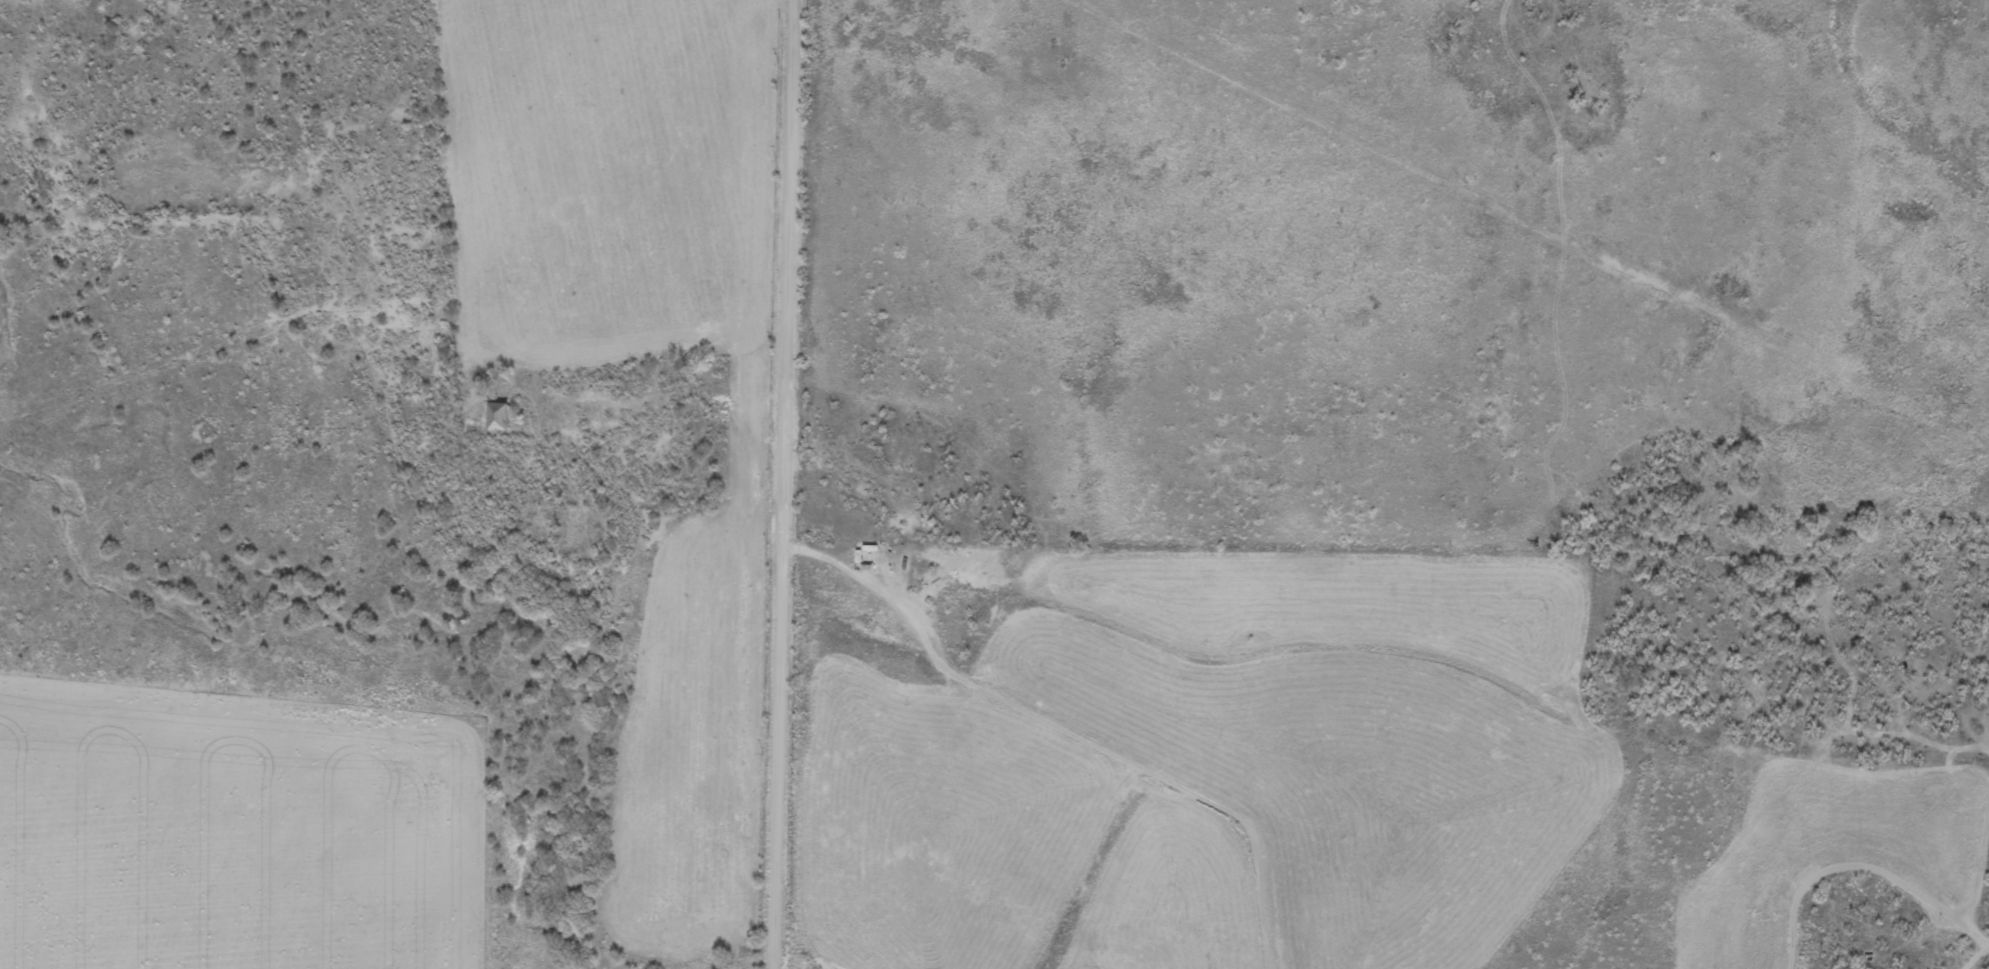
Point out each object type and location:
building: (492, 417)
road: (785, 484)
road: (1920, 968)

